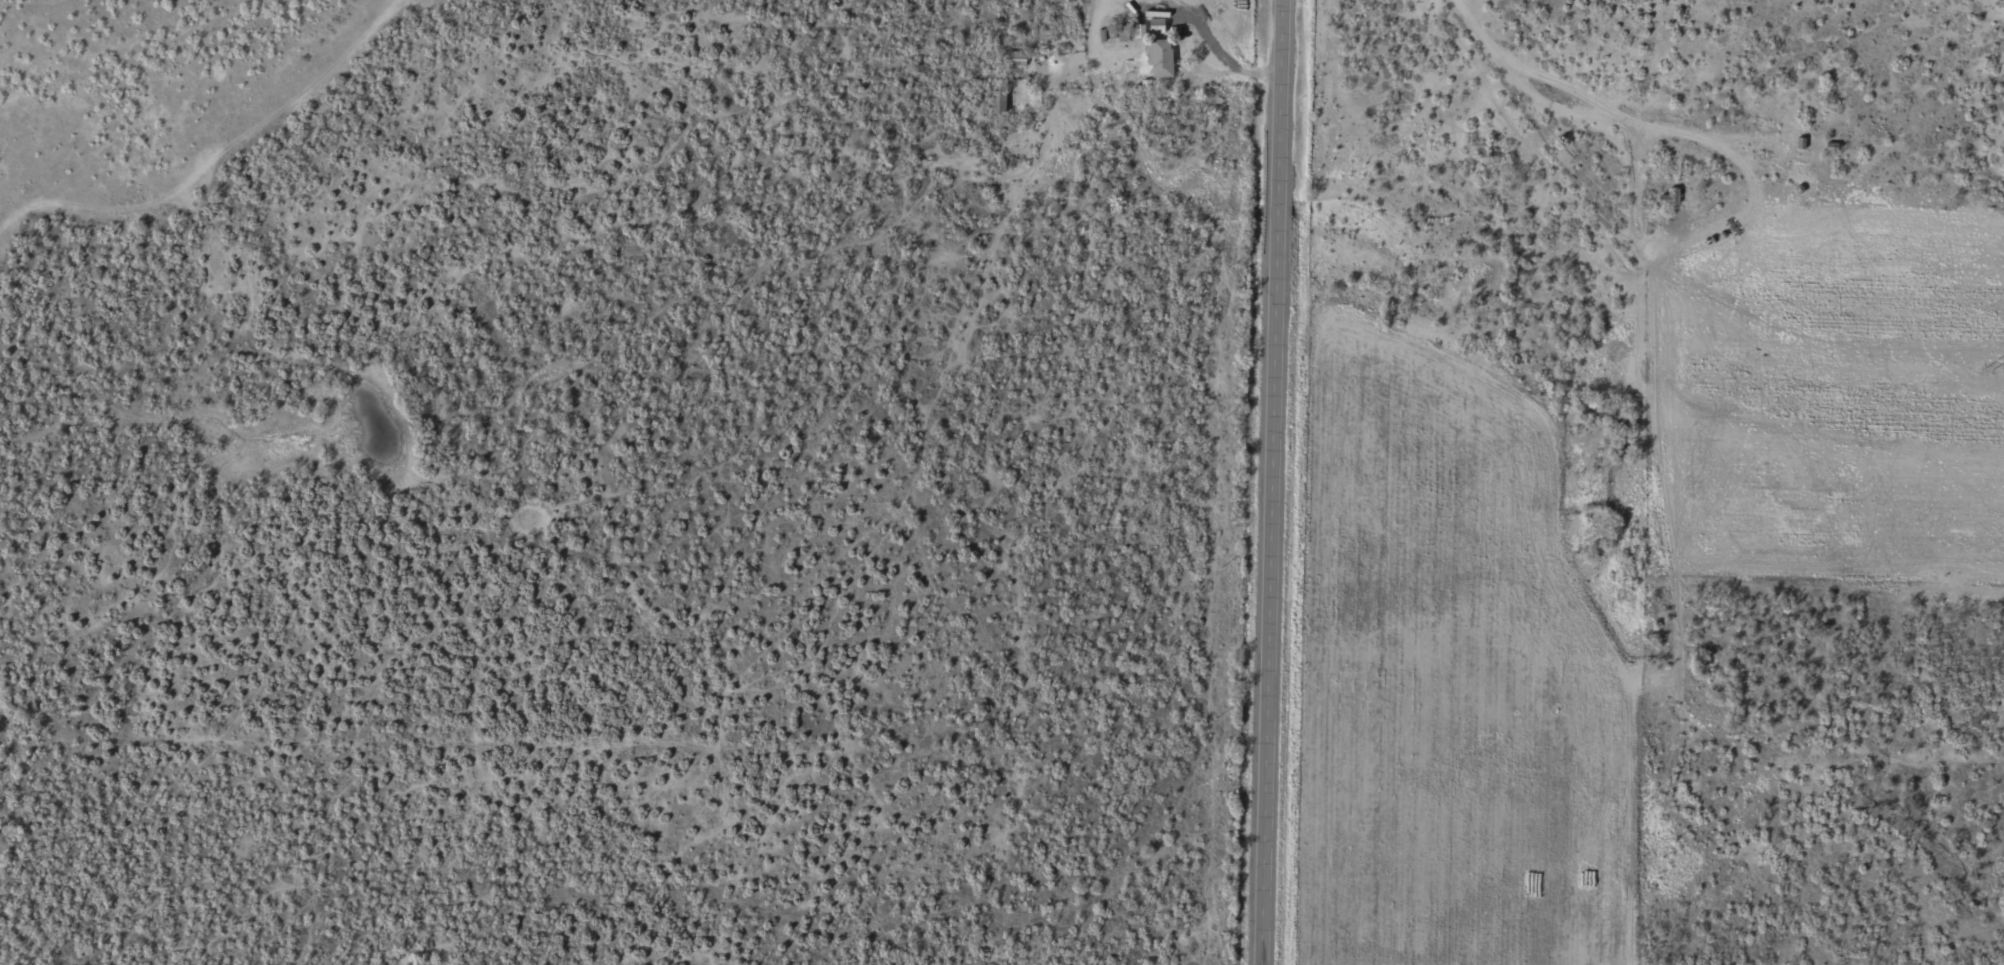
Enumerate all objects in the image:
building: (1156, 27)
building: (1159, 59)
road: (1632, 97)
building: (998, 103)
building: (1669, 198)
power tower: (1987, 370)
road: (1278, 482)
power tower: (1950, 738)

